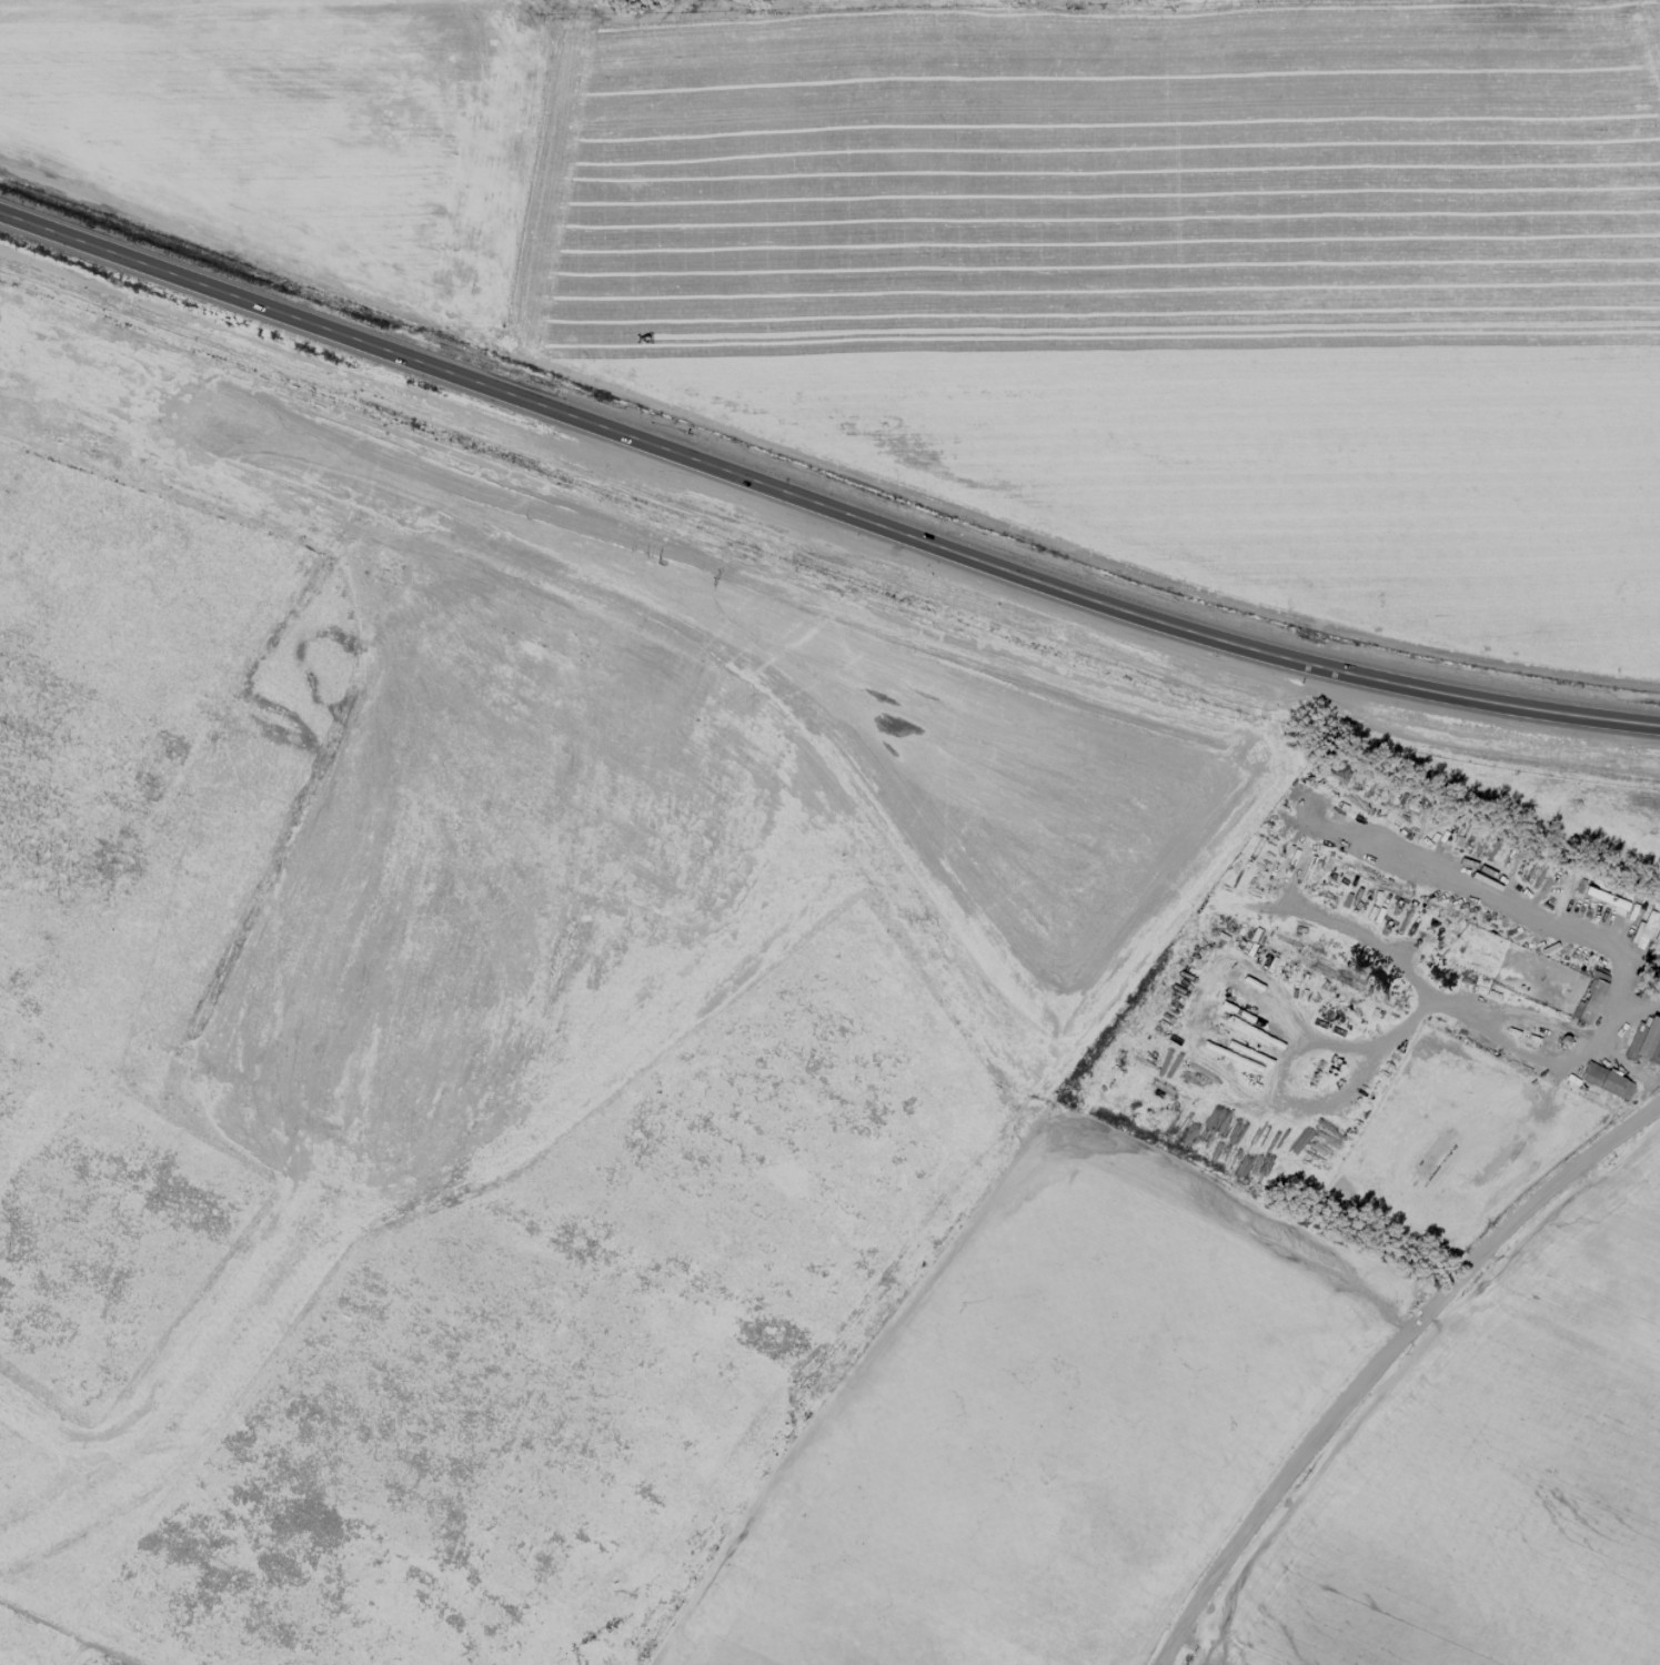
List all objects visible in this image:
road: (819, 504)
building: (1641, 929)
road: (1439, 998)
building: (1588, 1001)
building: (1647, 1038)
road: (1606, 1042)
building: (1607, 1080)
road: (1311, 1107)
road: (1379, 1356)

